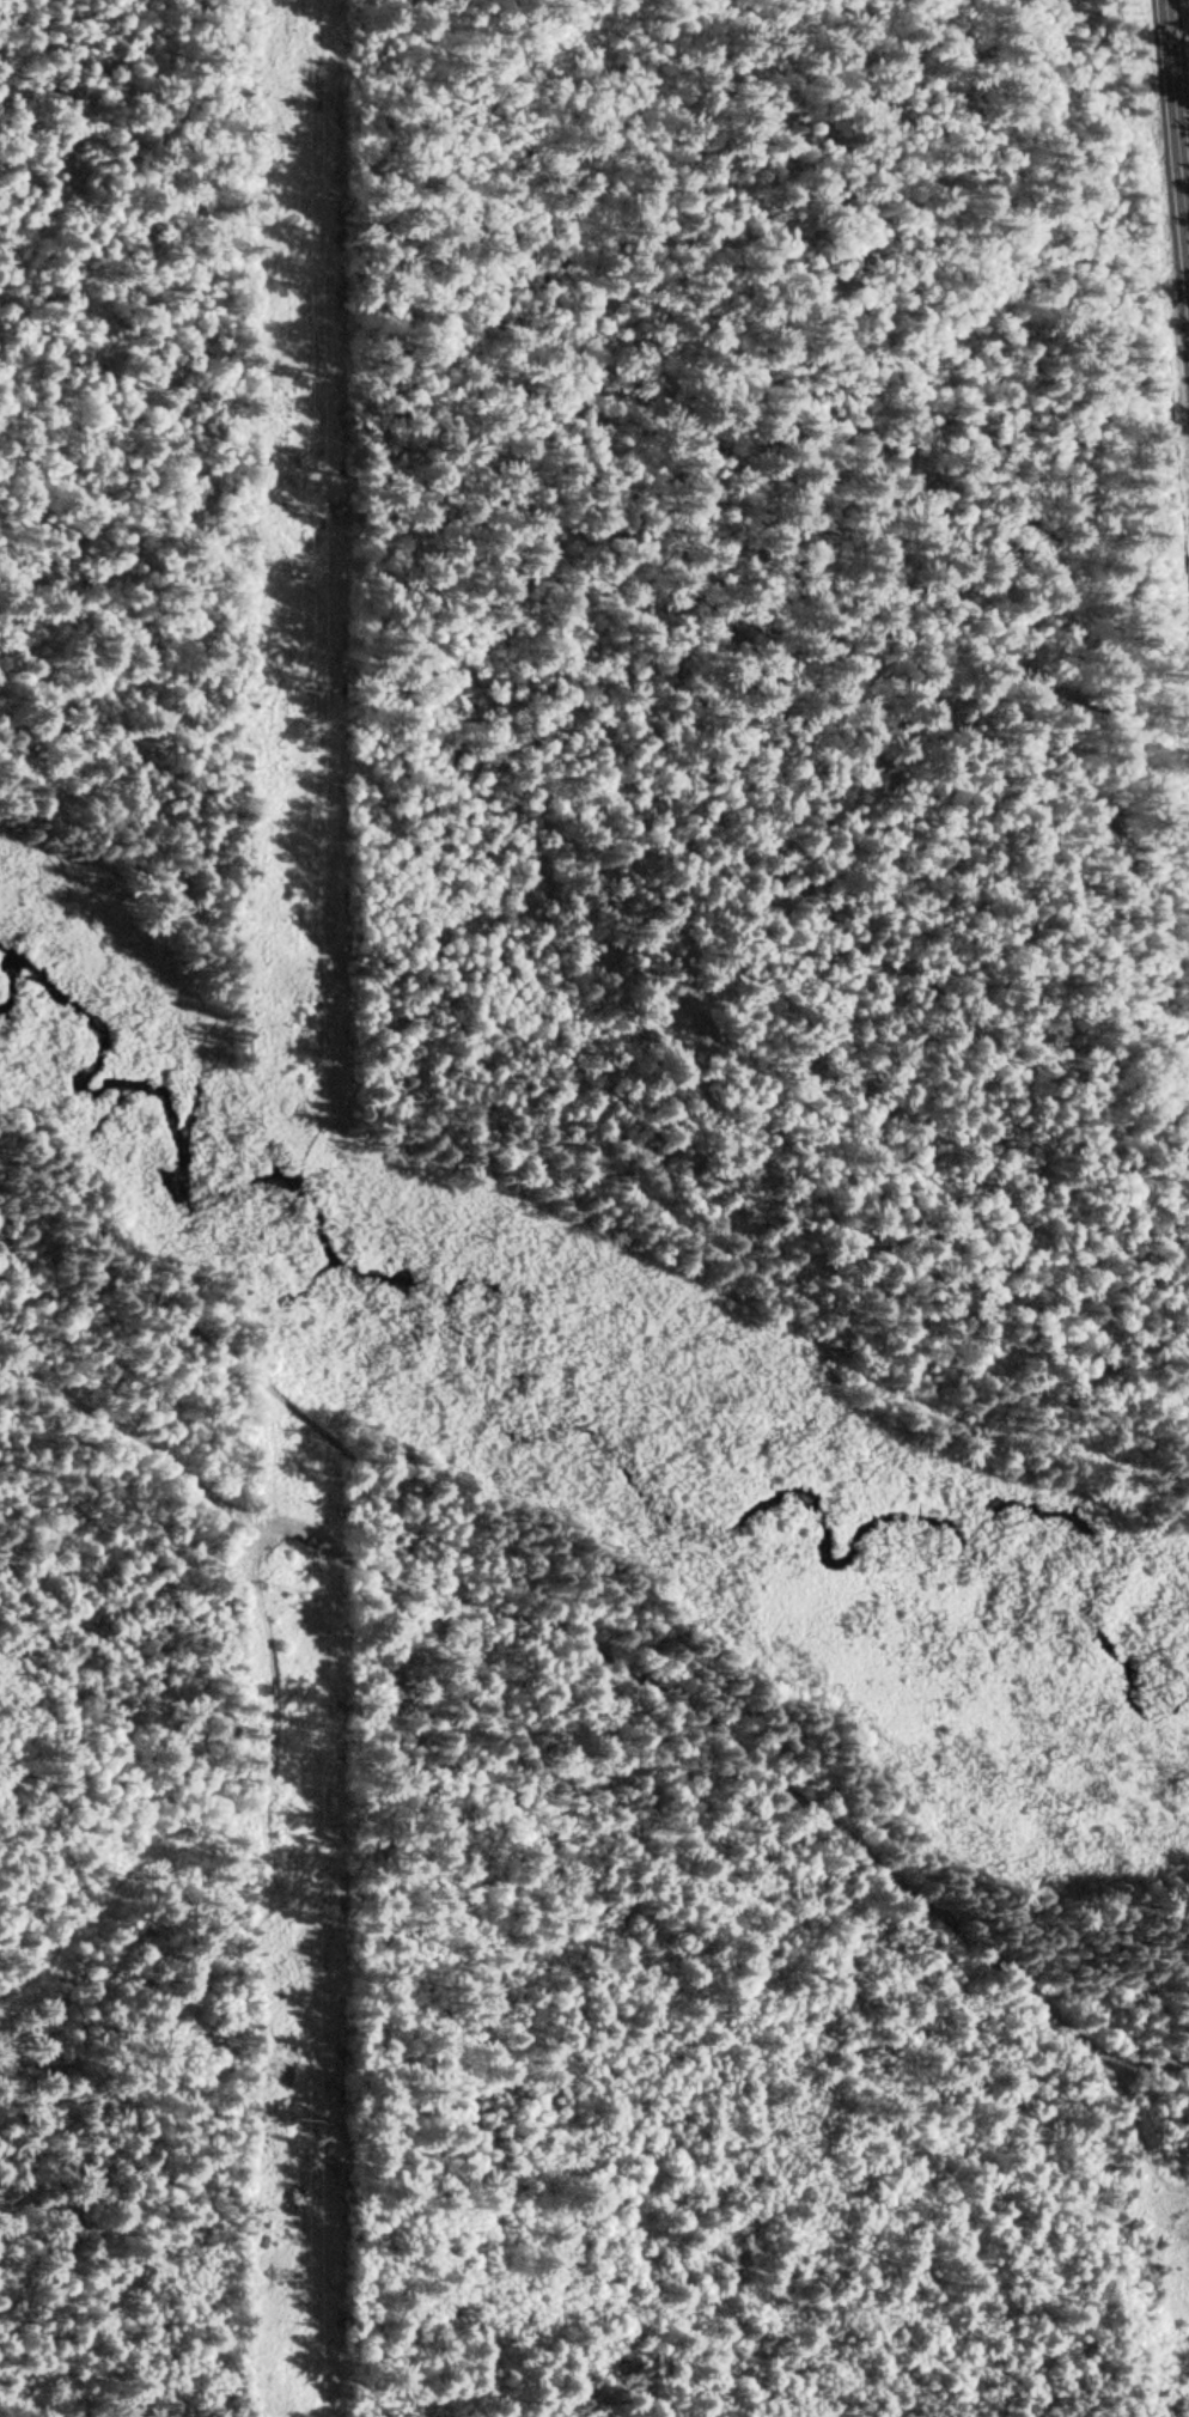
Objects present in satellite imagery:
road: (1171, 104)
road: (622, 1673)
road: (1152, 2141)

